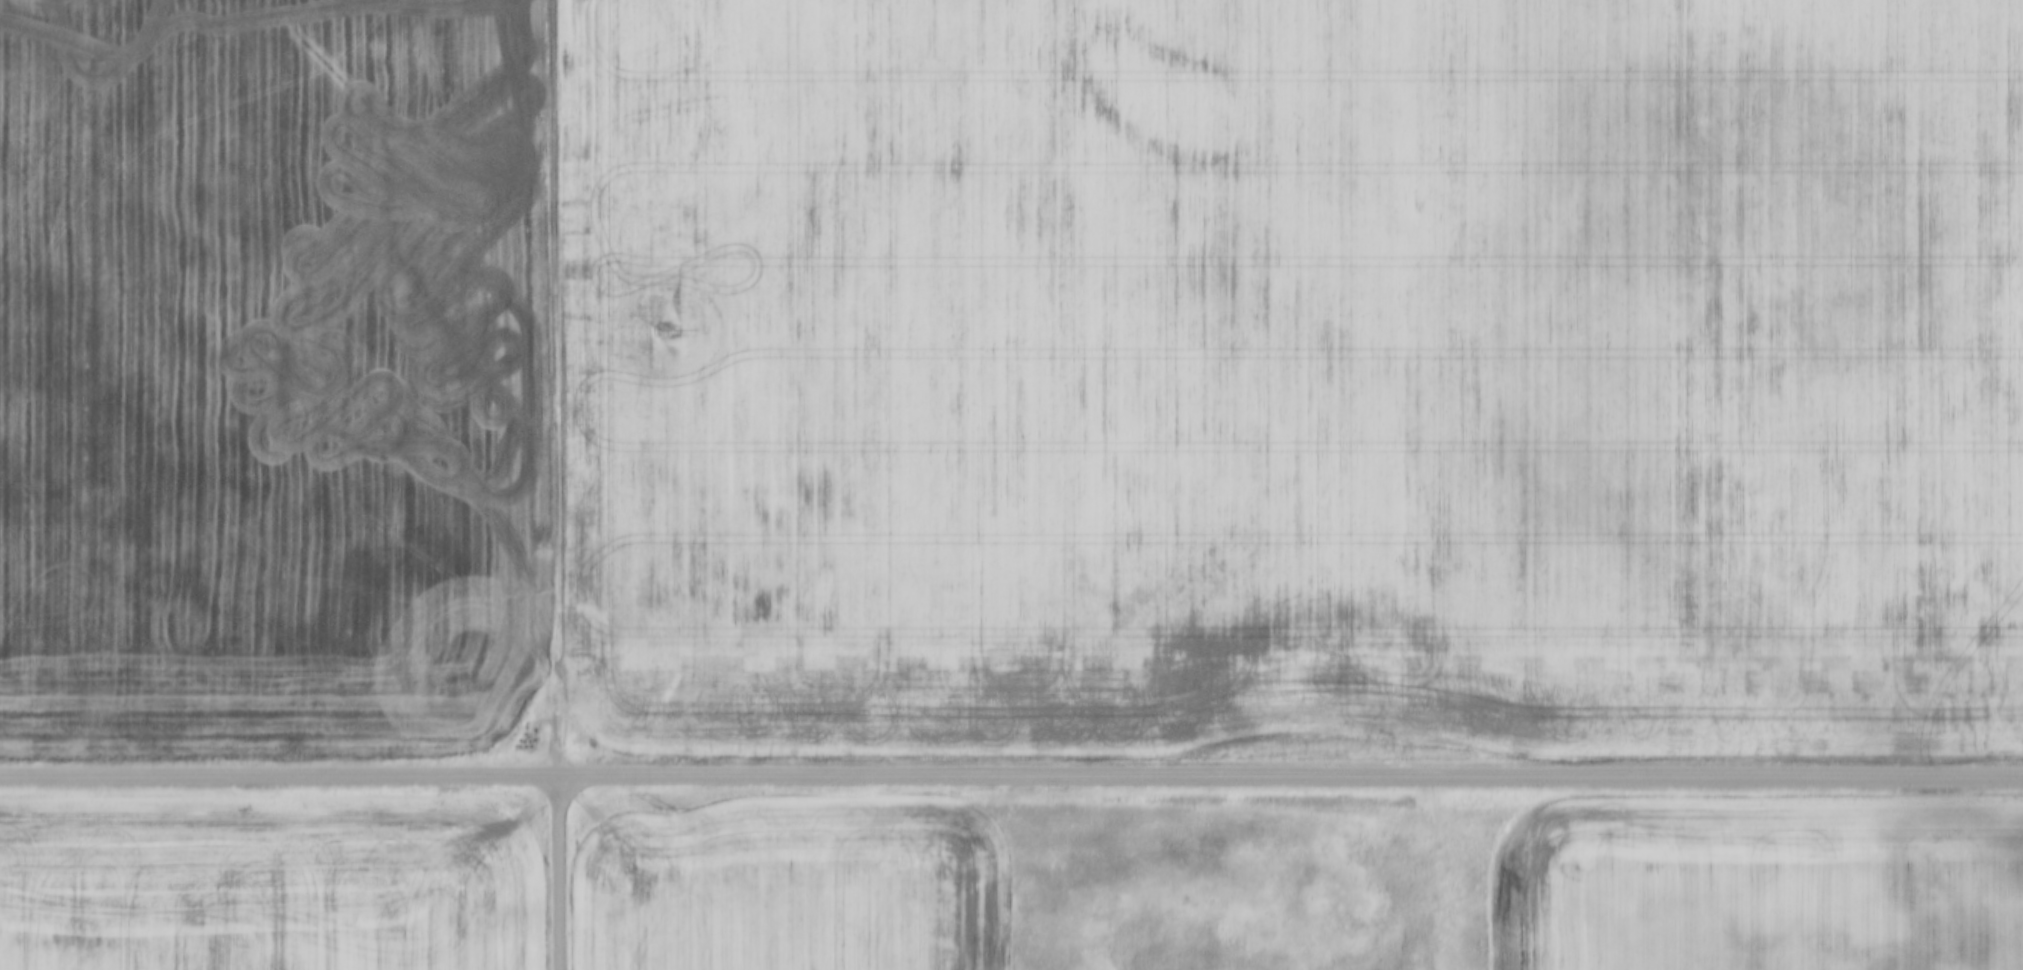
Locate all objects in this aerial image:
power tower: (666, 331)
road: (1011, 772)
power tower: (665, 809)
road: (561, 871)

